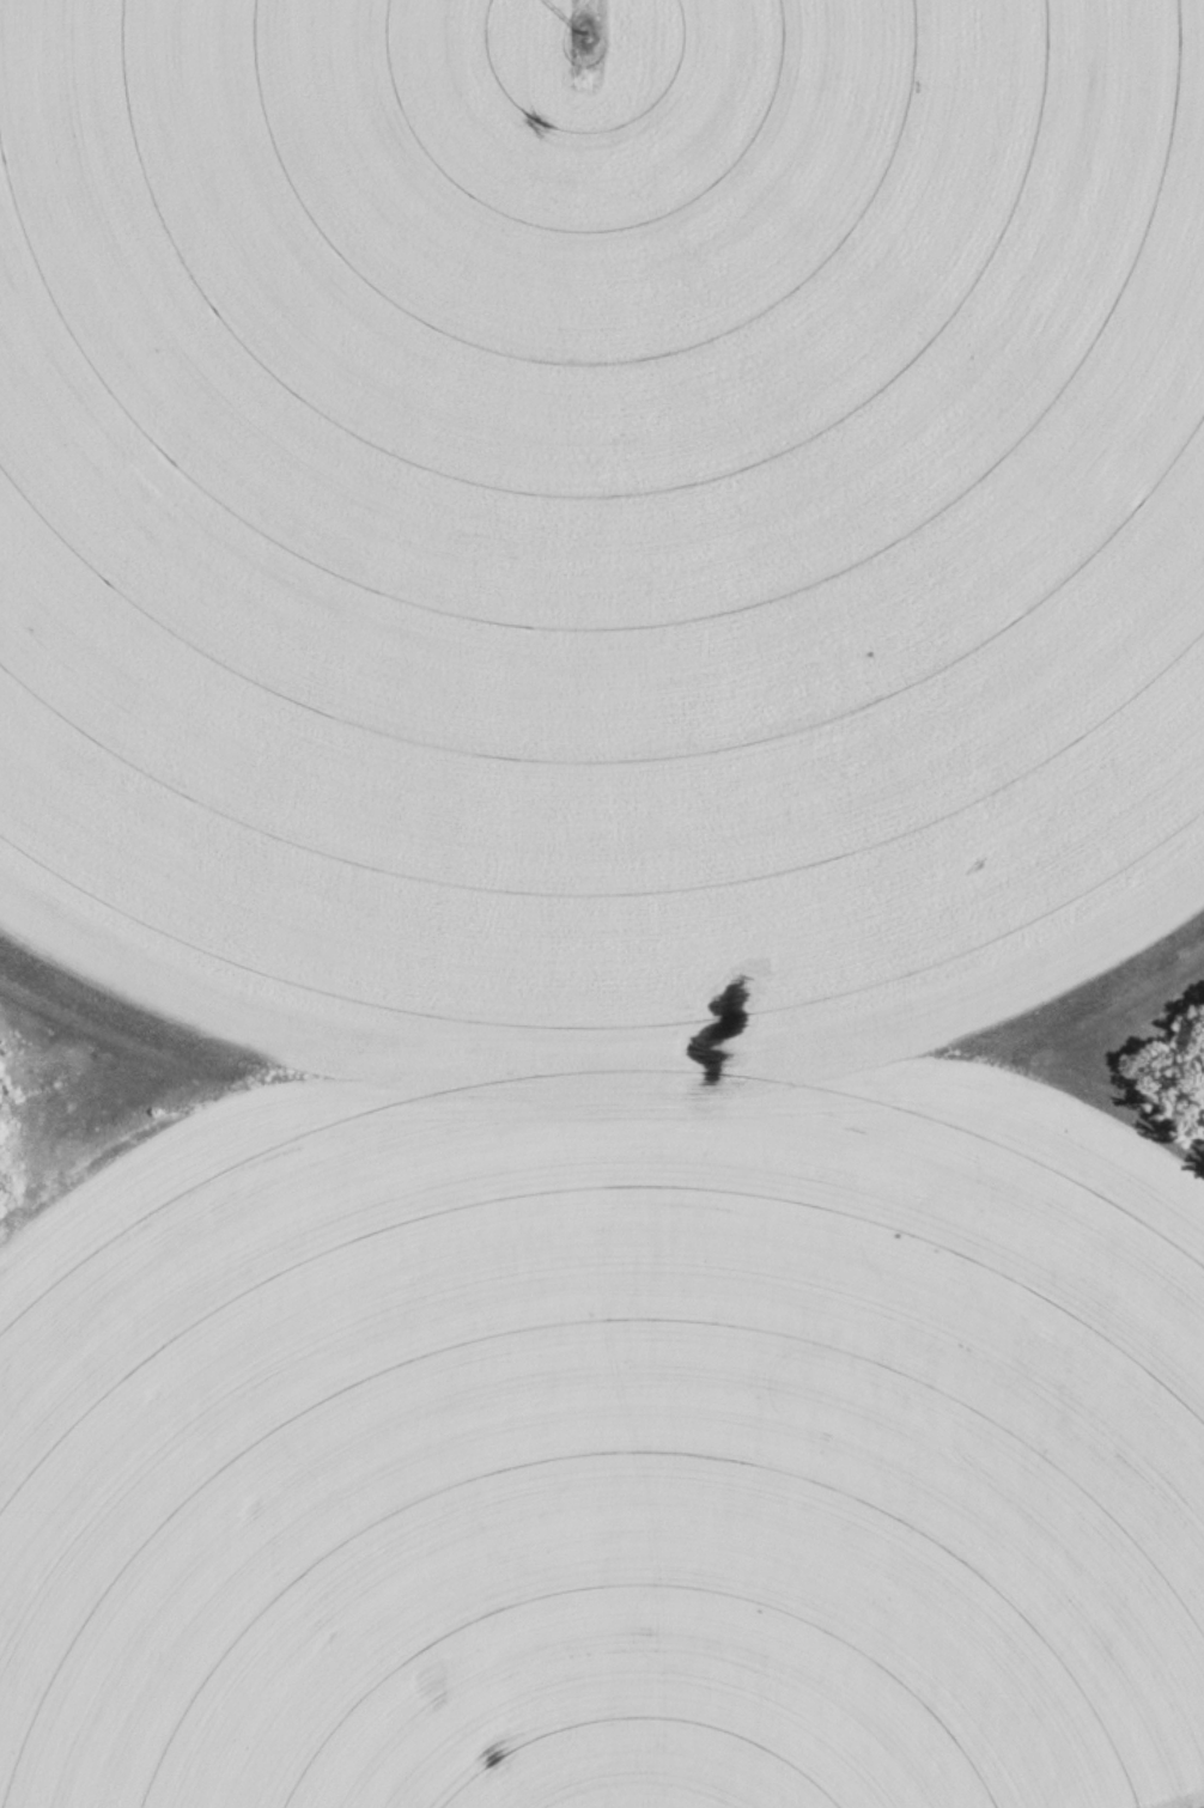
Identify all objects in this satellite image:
wastewater plant: (602, 903)

